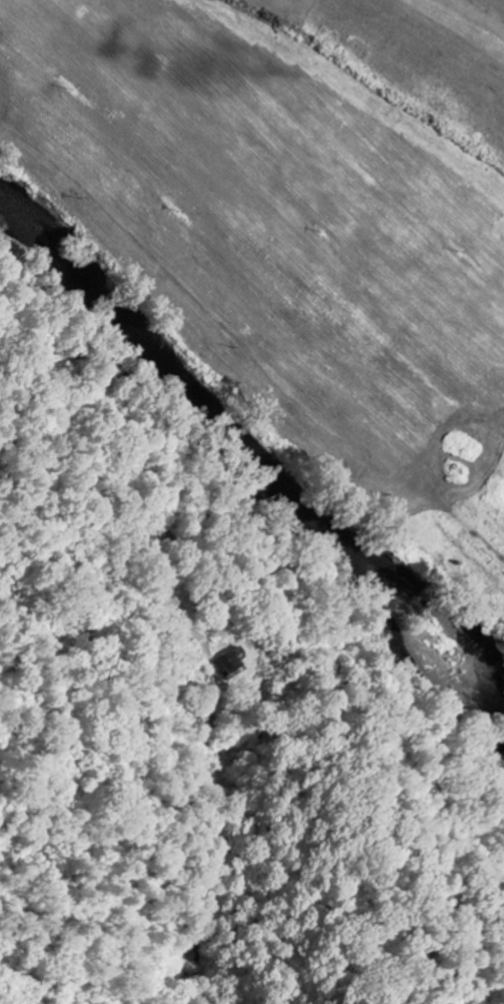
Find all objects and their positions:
road: (503, 0)
river: (239, 449)
road: (137, 520)
building: (229, 661)

